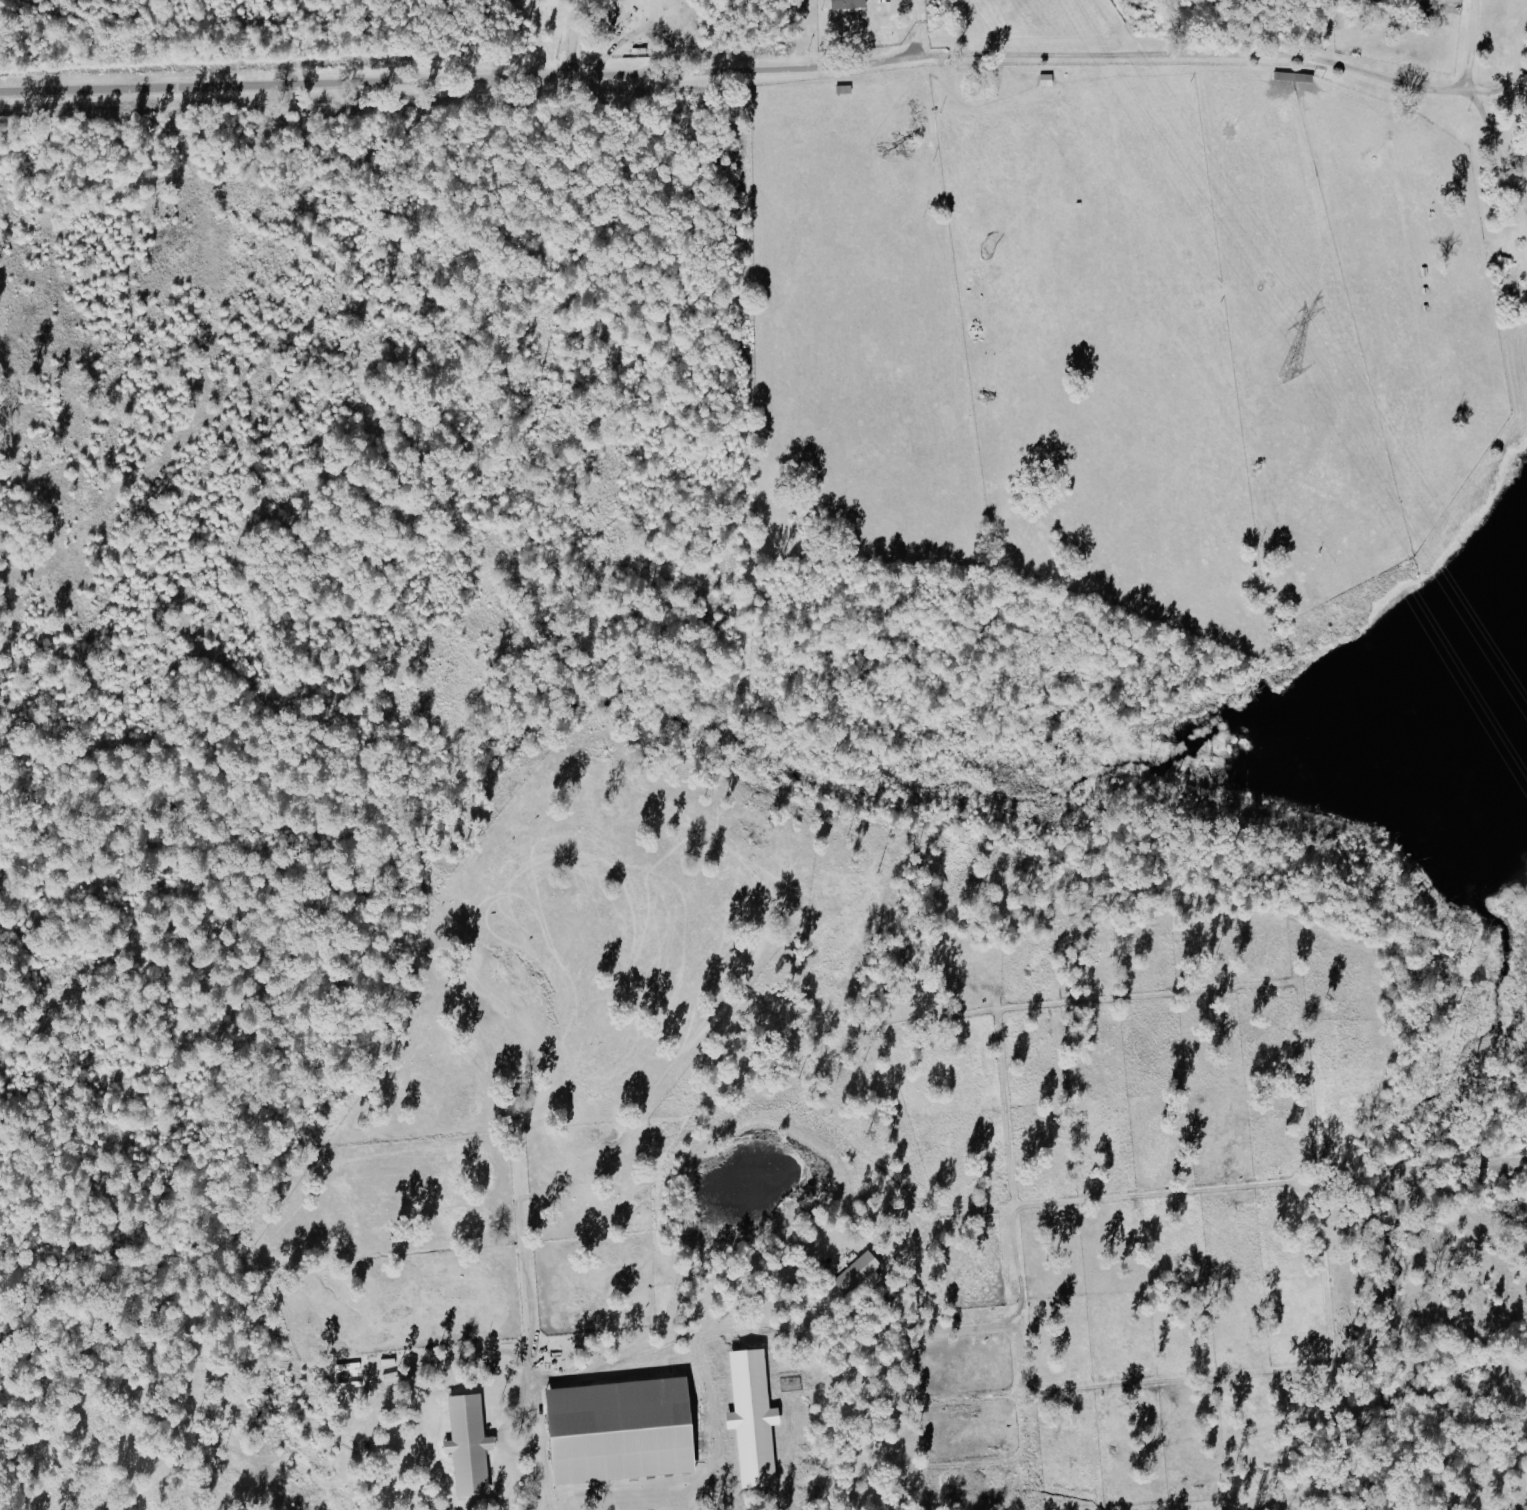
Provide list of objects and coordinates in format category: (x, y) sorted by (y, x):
building: (844, 4)
road: (575, 37)
road: (1462, 49)
road: (765, 69)
road: (1496, 151)
power tower: (1285, 376)
building: (854, 1273)
building: (748, 1418)
building: (611, 1430)
building: (464, 1444)
road: (543, 1450)

